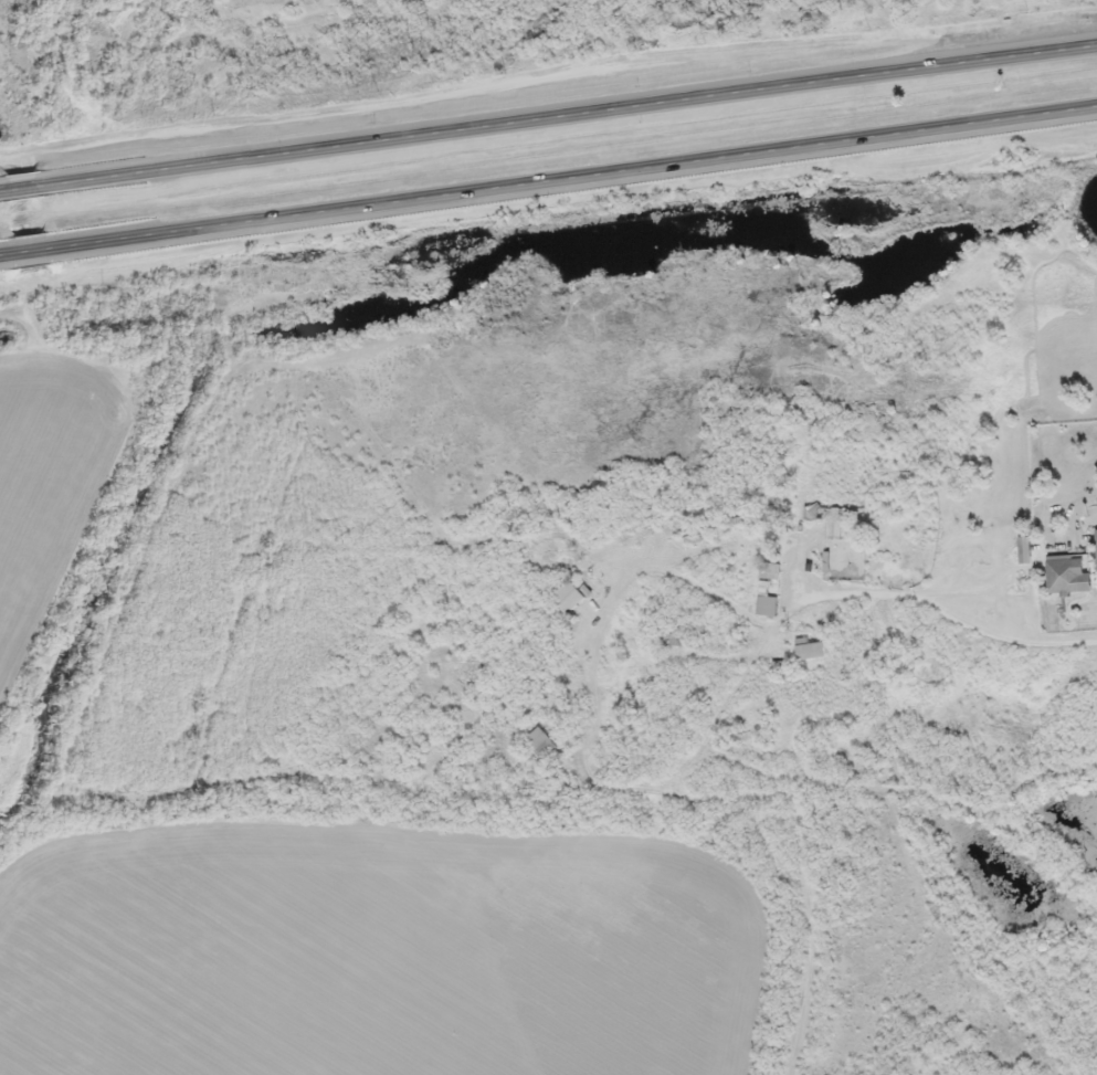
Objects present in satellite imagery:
road: (570, 113)
road: (577, 182)
road: (23, 187)
road: (1, 190)
road: (31, 256)
road: (2, 260)
building: (825, 513)
building: (694, 536)
building: (1096, 546)
building: (1025, 549)
building: (768, 572)
building: (1067, 576)
building: (570, 597)
building: (767, 604)
building: (681, 637)
building: (809, 649)
building: (542, 742)

